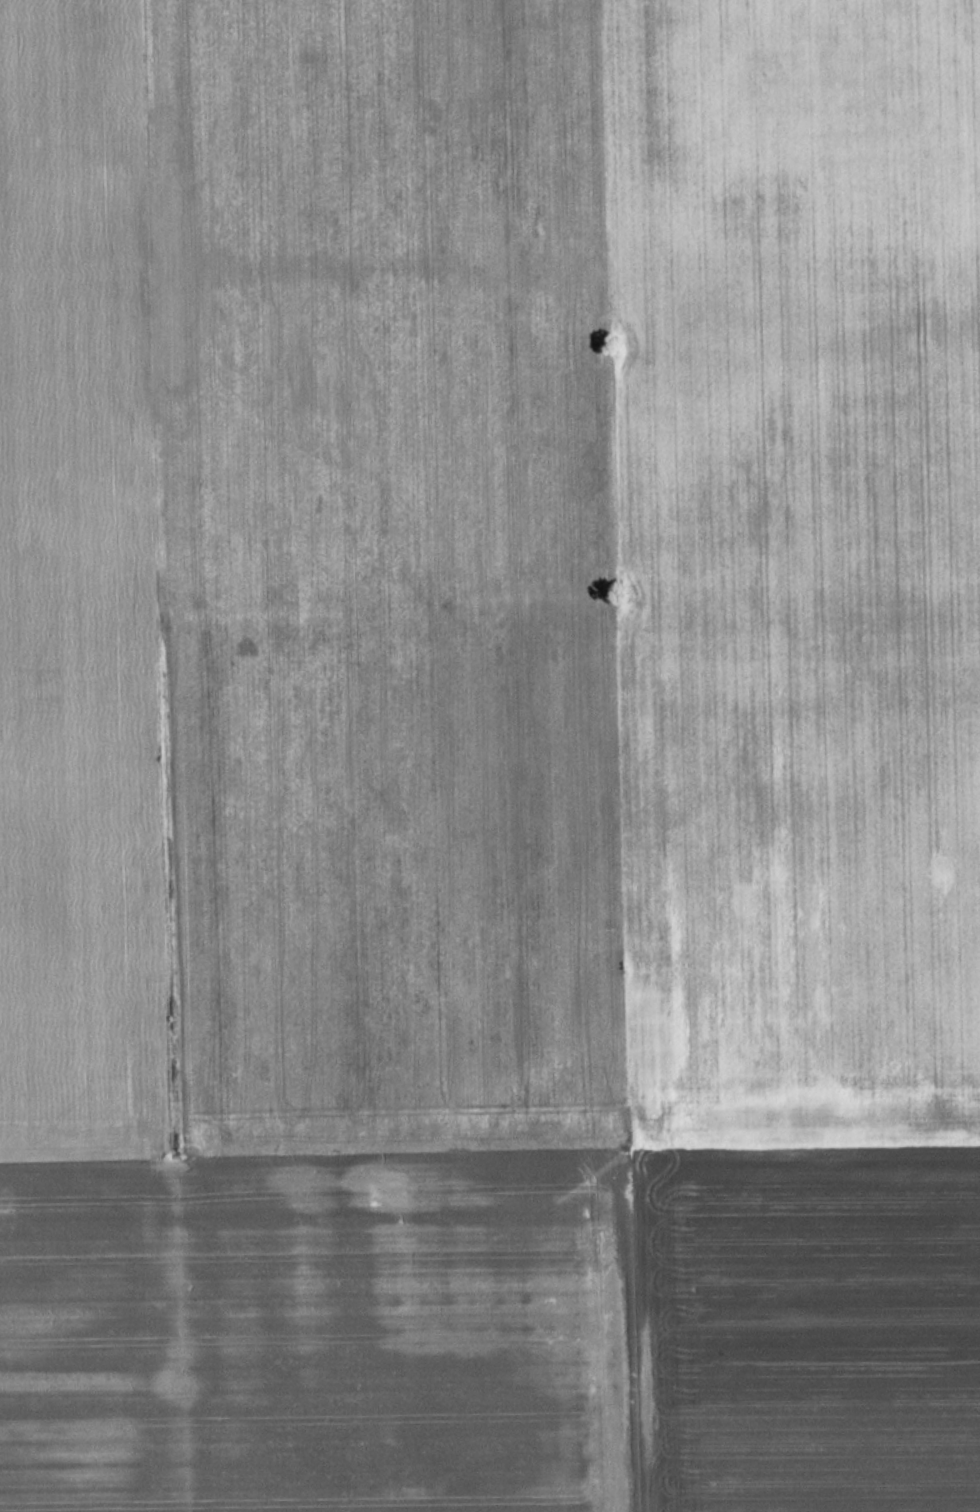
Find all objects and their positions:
crop: (796, 565)
crop: (306, 579)
crop: (805, 1327)
crop: (317, 1332)

